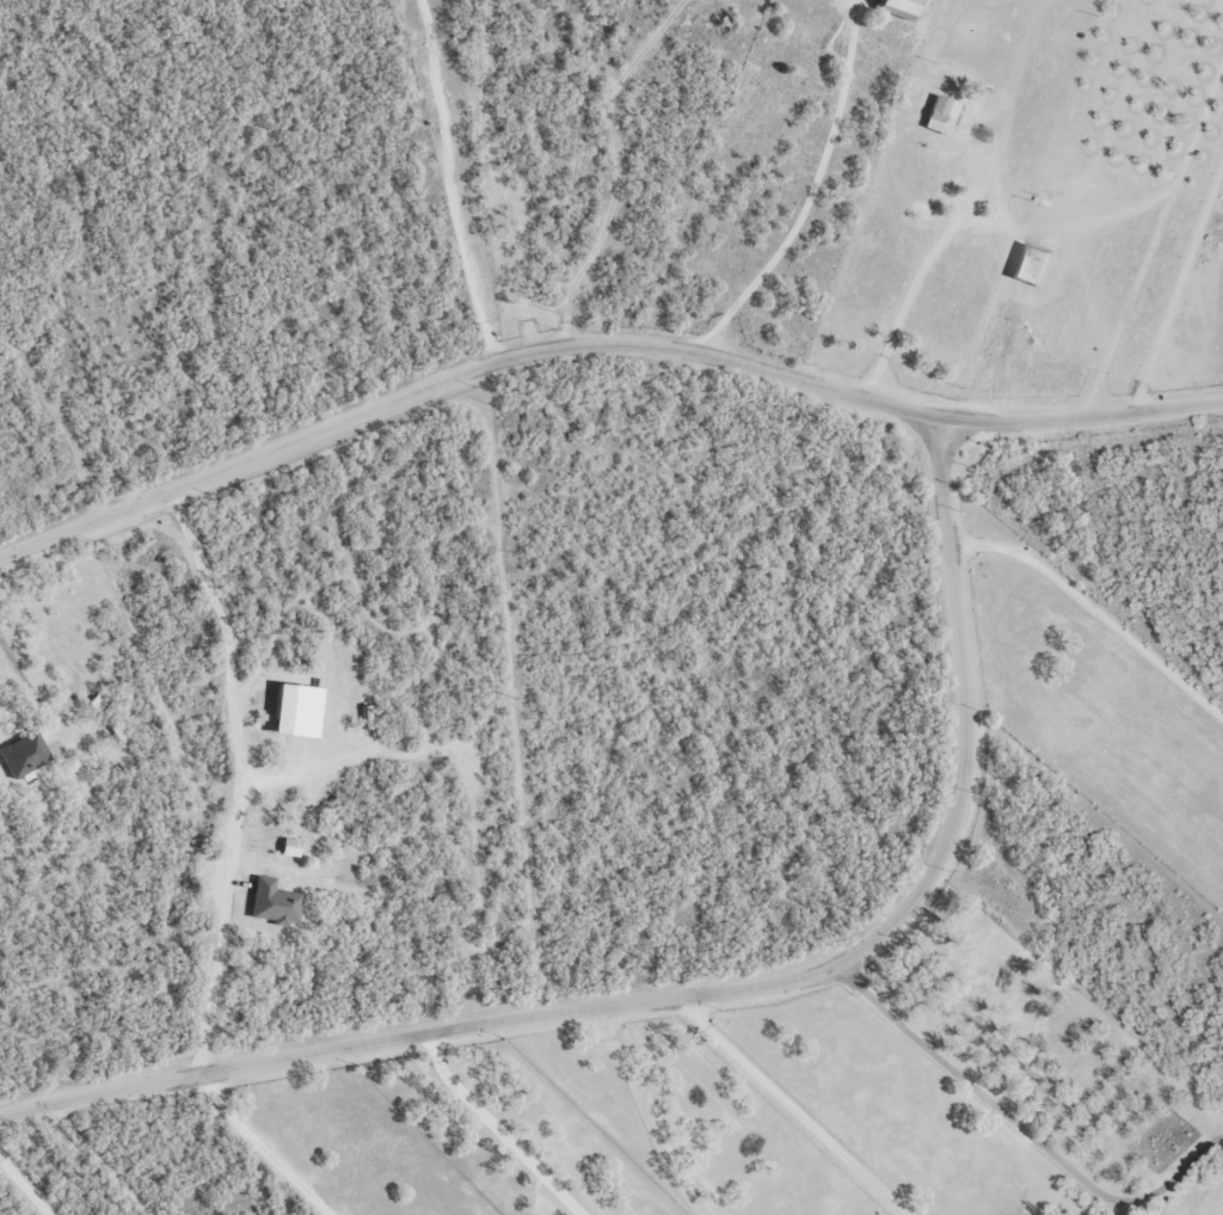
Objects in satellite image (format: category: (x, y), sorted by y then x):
building: (892, 6)
building: (939, 113)
building: (1028, 264)
road: (81, 277)
road: (603, 374)
building: (96, 704)
building: (291, 708)
building: (364, 714)
building: (21, 753)
building: (287, 846)
building: (271, 901)
road: (711, 992)

